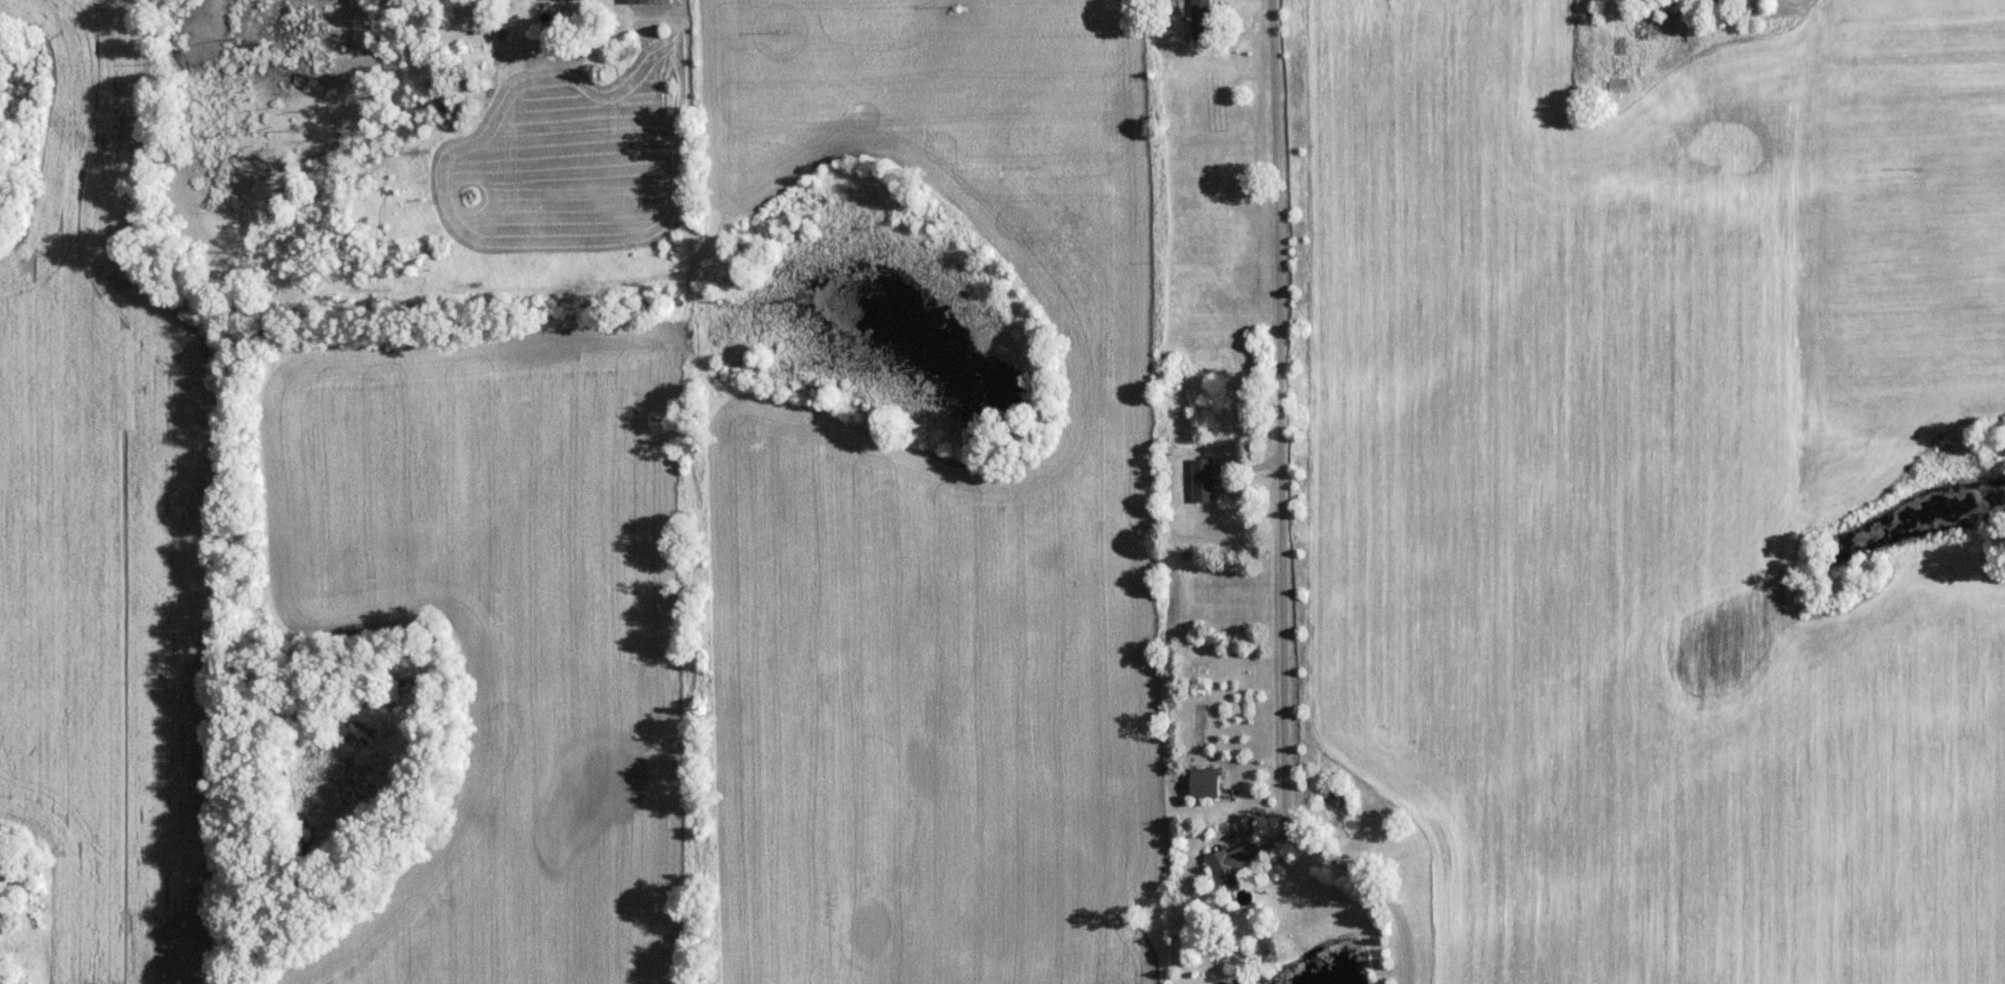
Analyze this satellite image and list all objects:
building: (649, 1)
building: (1201, 19)
building: (1617, 84)
building: (1202, 481)
road: (1282, 519)
building: (1205, 781)
building: (1229, 863)

